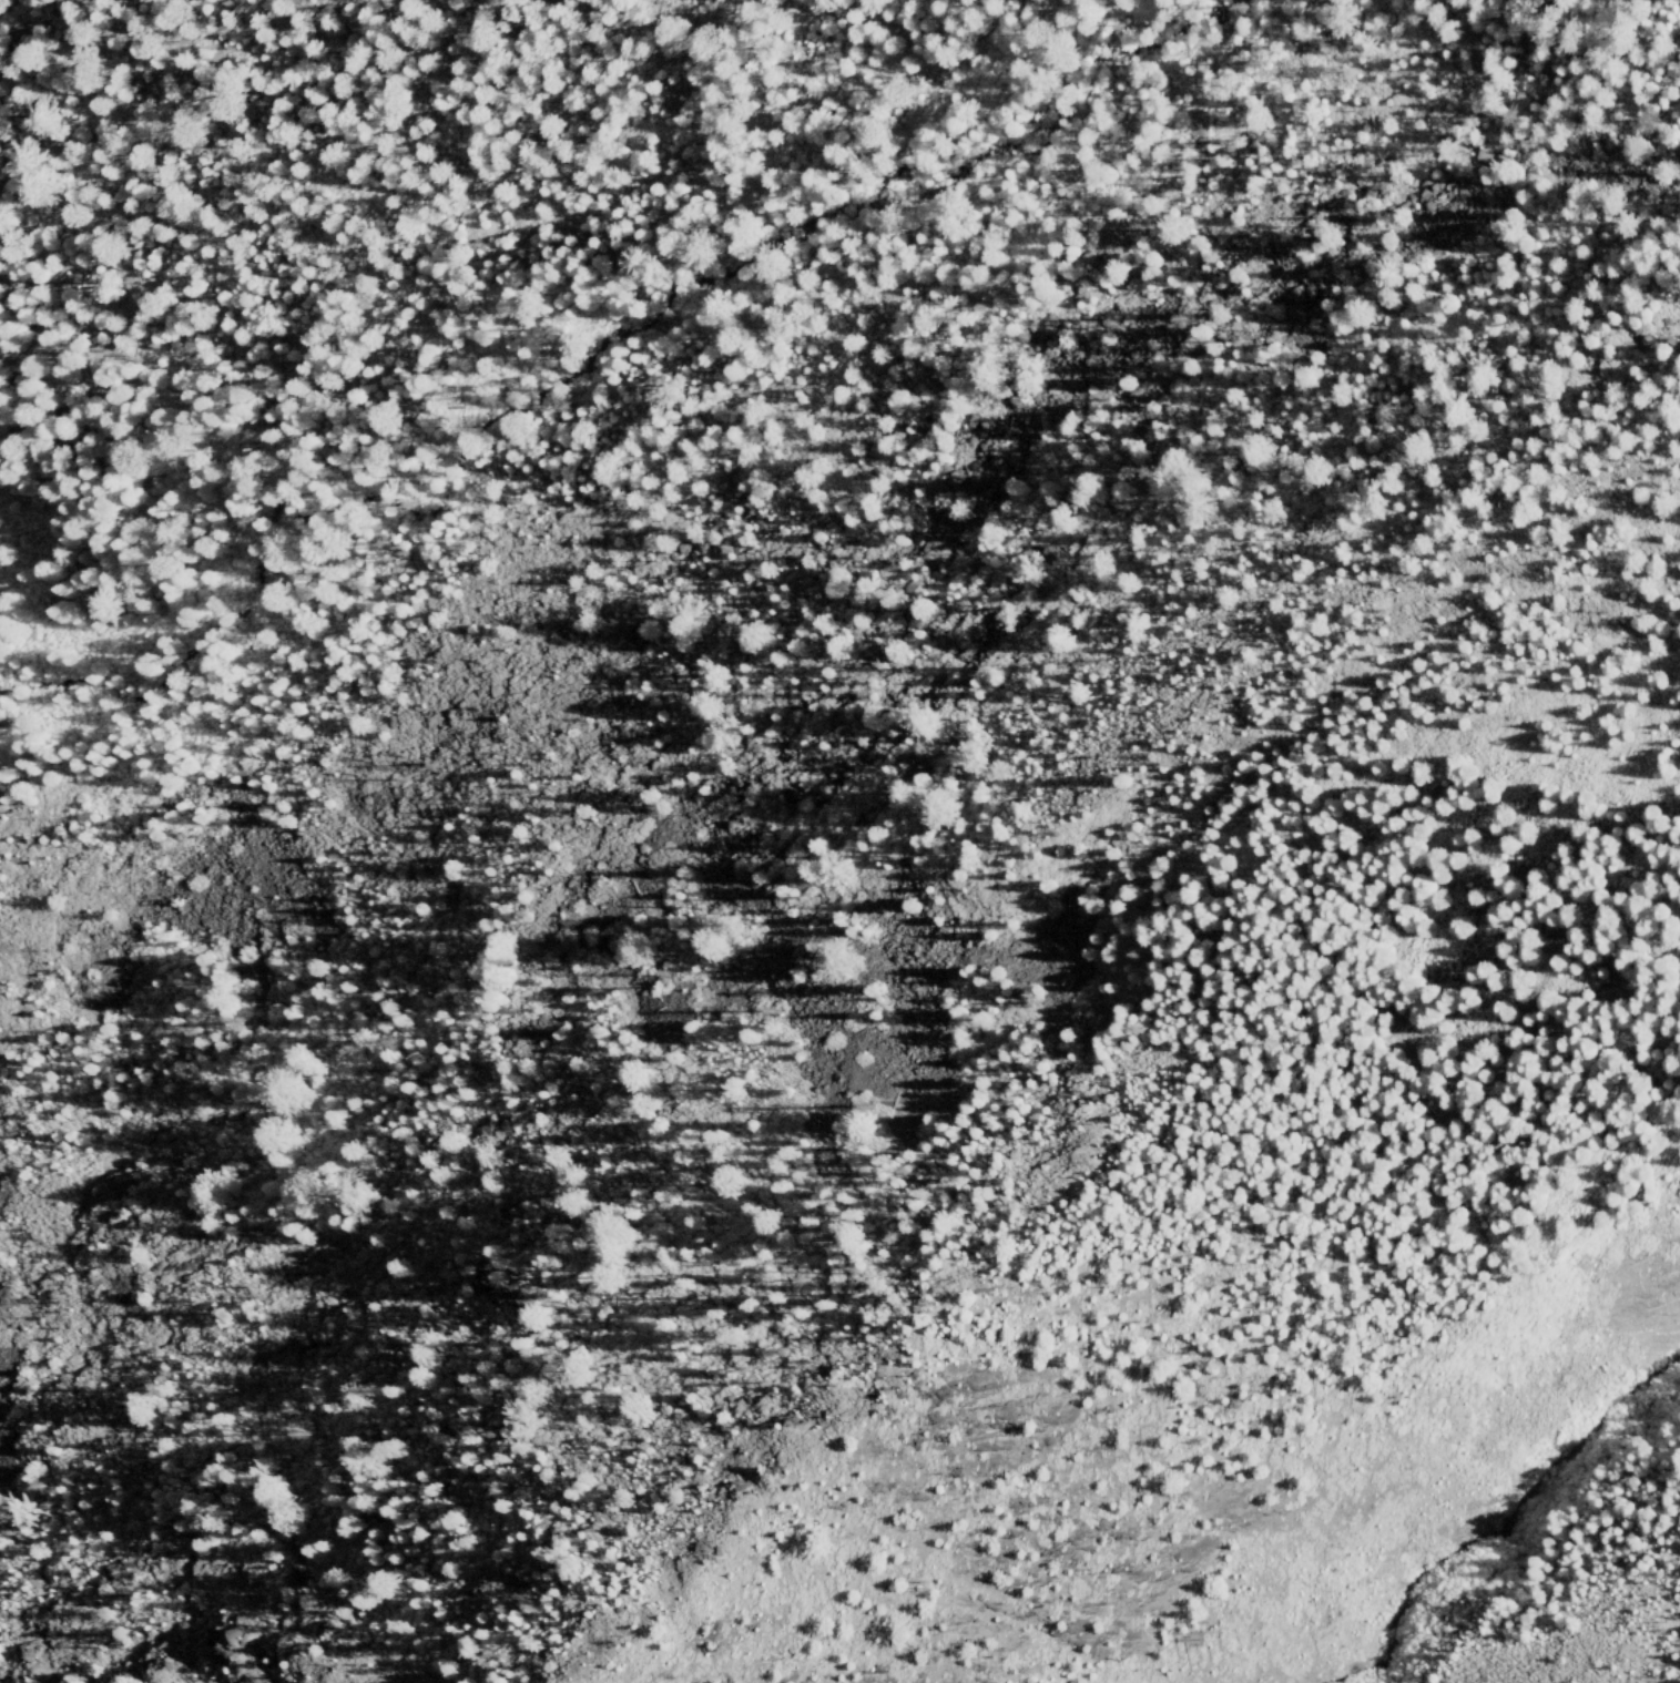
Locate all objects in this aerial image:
road: (530, 228)

